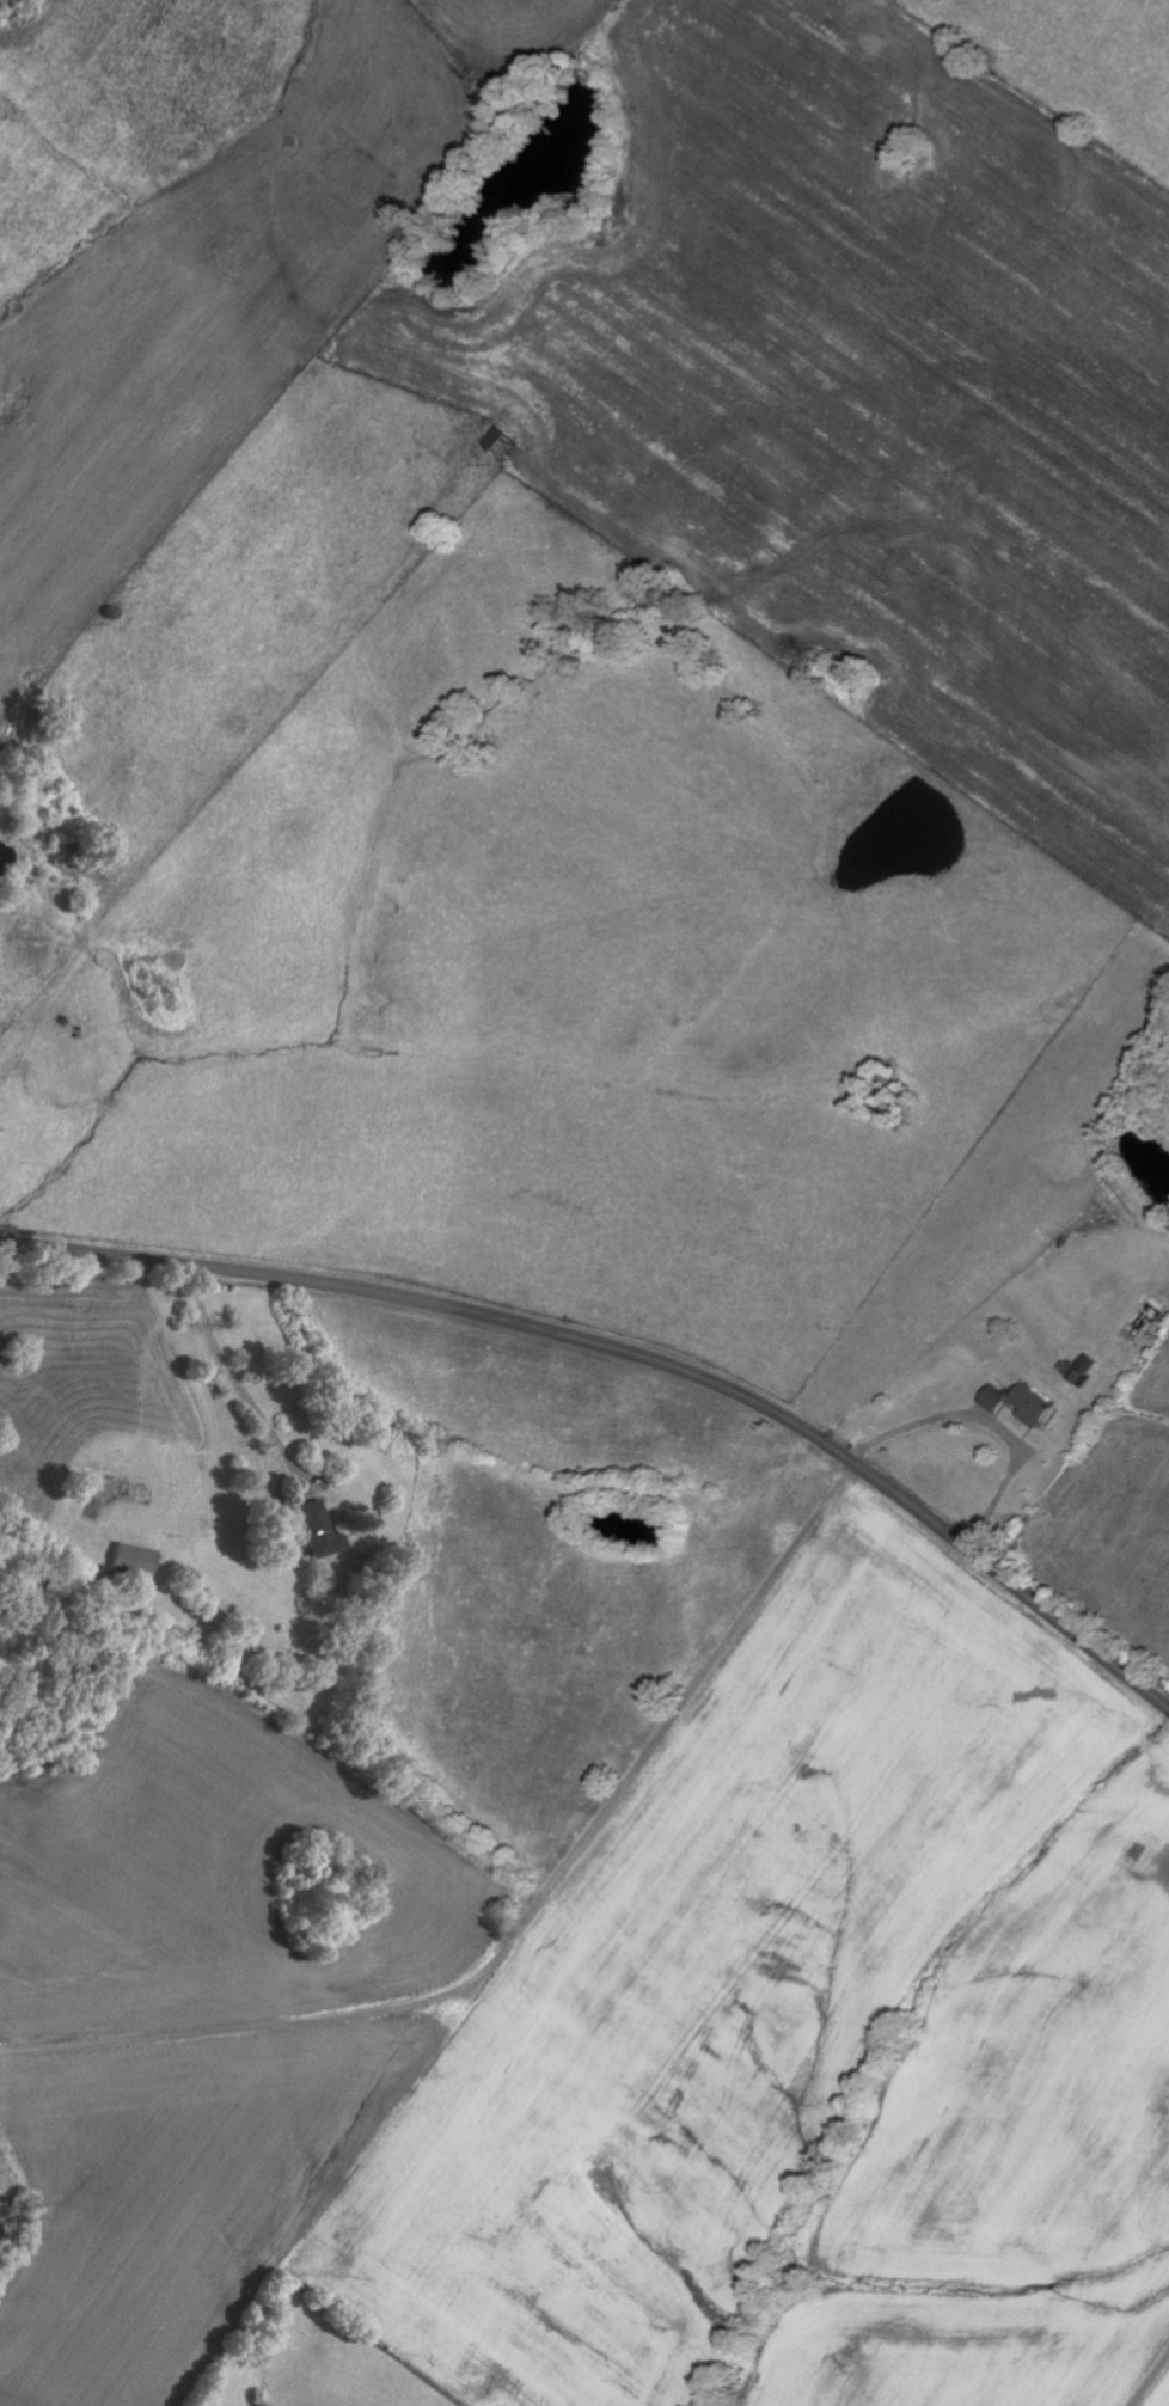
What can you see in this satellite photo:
road: (635, 1357)
building: (1089, 1364)
road: (238, 1380)
building: (994, 1398)
building: (1030, 1408)
road: (989, 1428)
building: (318, 1531)
building: (134, 1561)
road: (530, 1943)
road: (1151, 2381)

